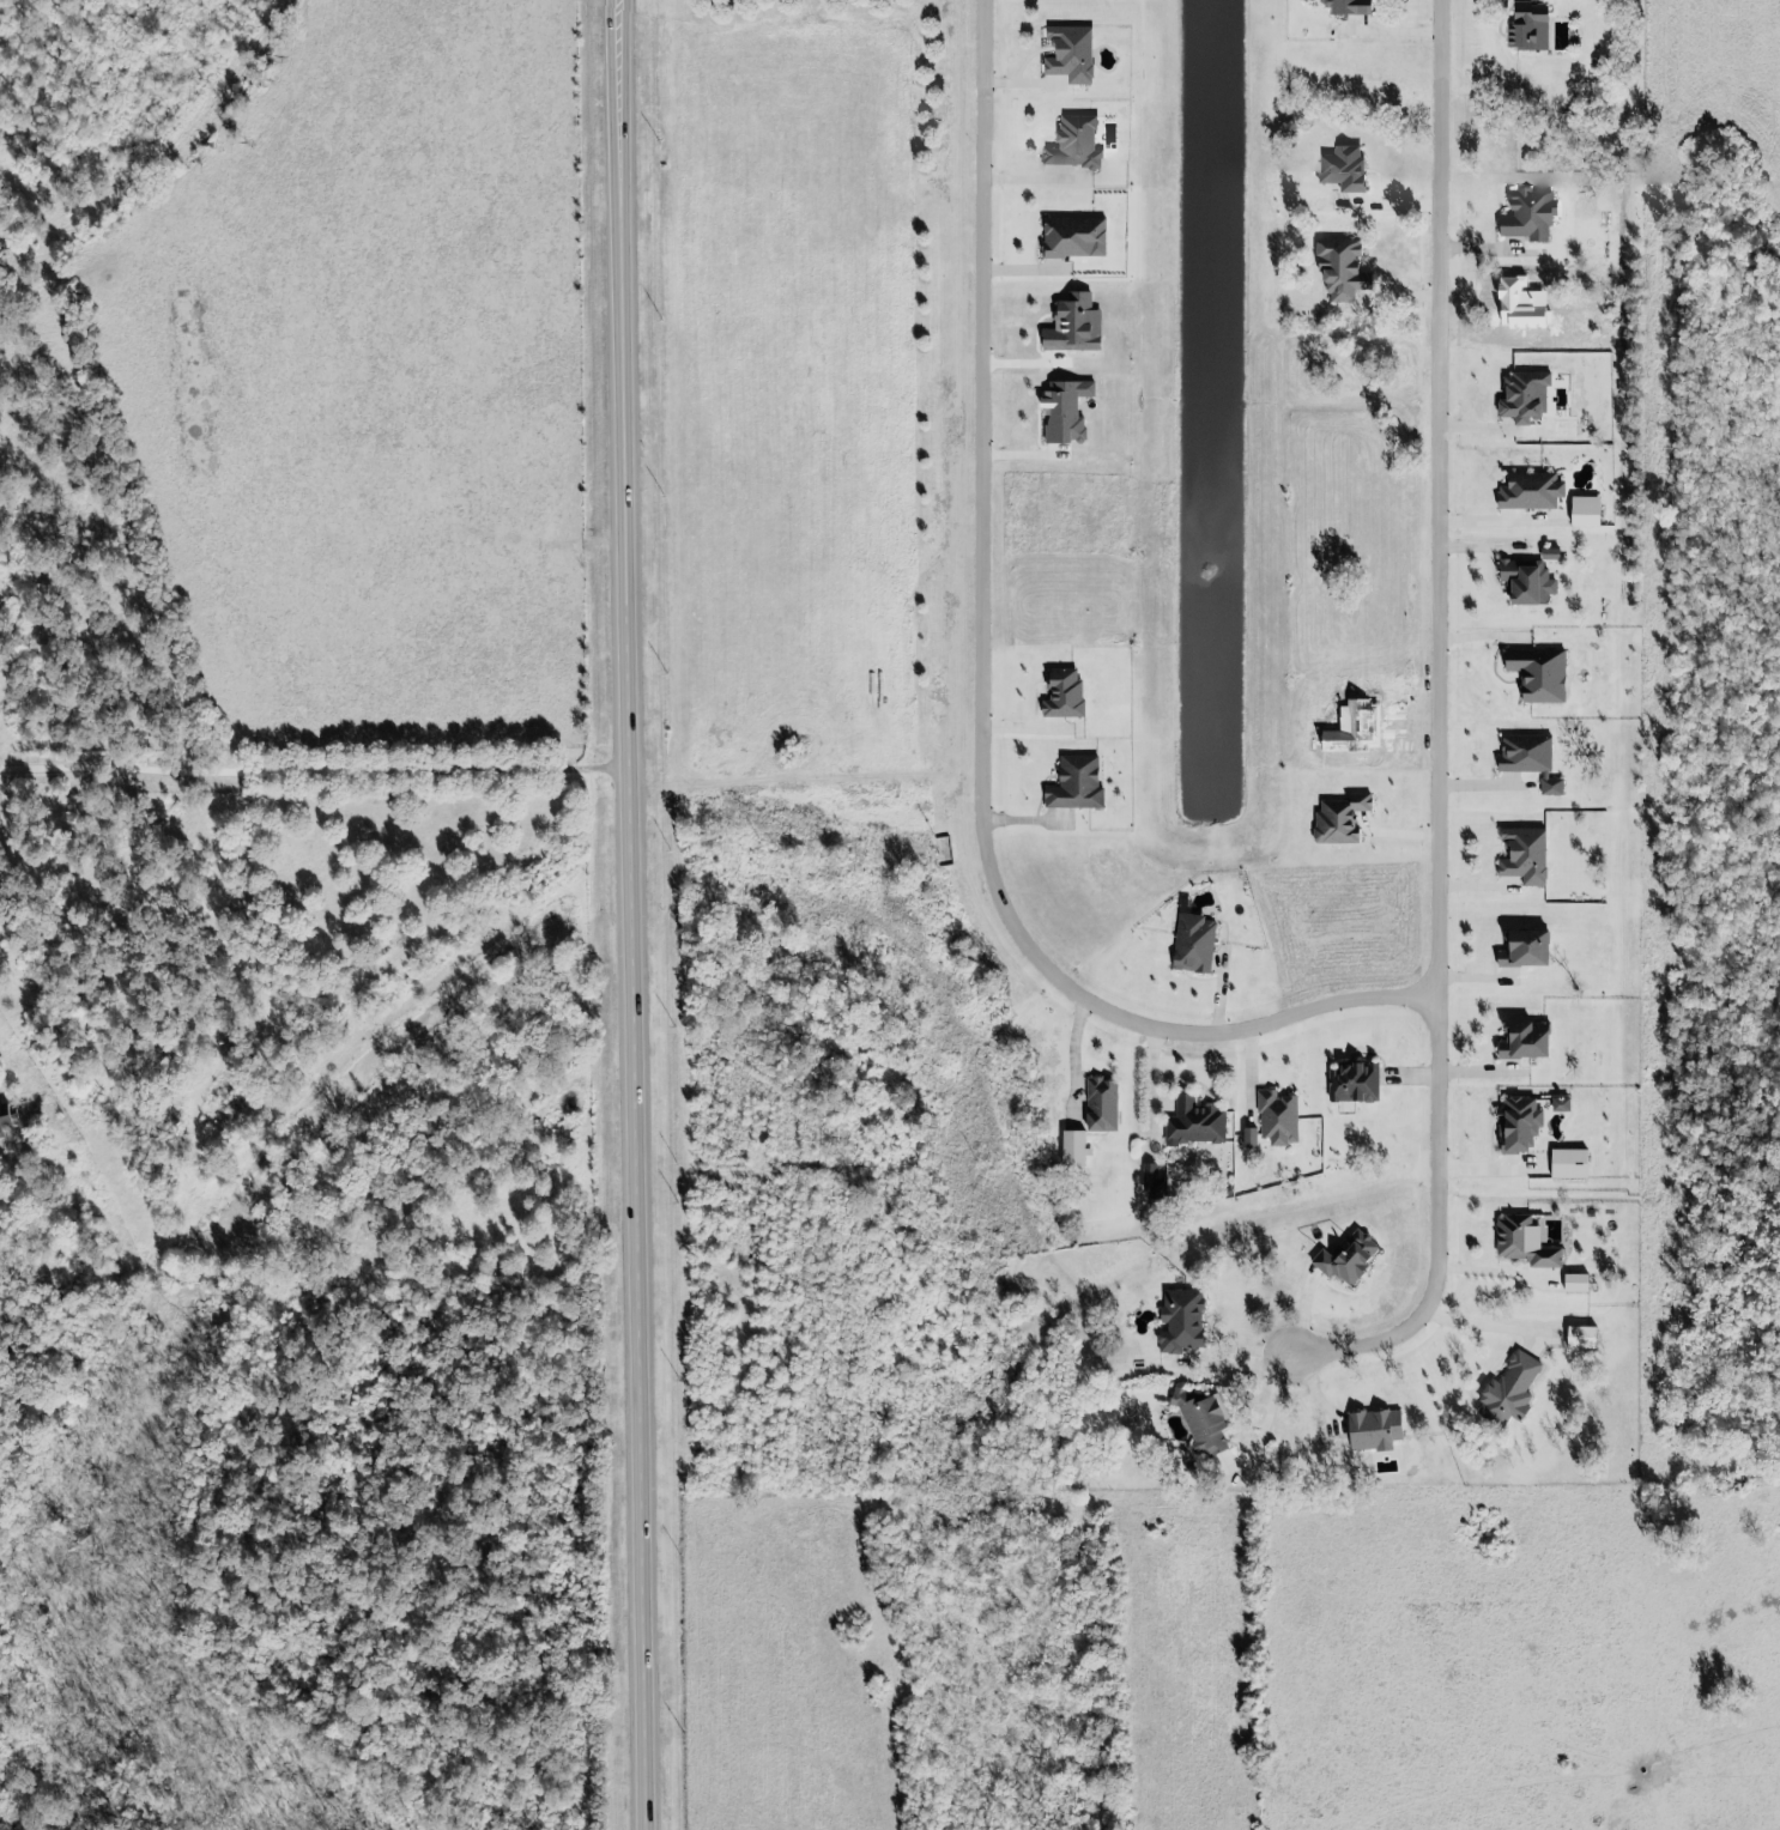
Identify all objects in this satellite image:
building: (1348, 4)
building: (1527, 28)
building: (1068, 46)
building: (1073, 138)
building: (1343, 165)
building: (1530, 214)
building: (1073, 235)
building: (1342, 266)
building: (1074, 325)
building: (1525, 399)
building: (1065, 408)
building: (1531, 492)
building: (1586, 511)
road: (1501, 525)
building: (1551, 555)
building: (1527, 583)
building: (1539, 674)
building: (1064, 691)
road: (977, 704)
road: (1441, 735)
building: (1527, 759)
road: (316, 768)
building: (1077, 782)
building: (1337, 819)
building: (1521, 856)
road: (635, 914)
building: (1193, 941)
building: (1525, 946)
building: (1524, 1038)
road: (1071, 1062)
building: (1355, 1080)
building: (1102, 1103)
building: (1558, 1104)
building: (1276, 1117)
building: (1195, 1122)
building: (2, 1123)
building: (1516, 1123)
building: (1248, 1137)
building: (1070, 1147)
building: (1566, 1163)
building: (1525, 1241)
building: (1348, 1256)
building: (1573, 1283)
building: (1182, 1320)
road: (1479, 1326)
building: (1578, 1337)
building: (1508, 1389)
building: (1200, 1422)
building: (1372, 1430)

